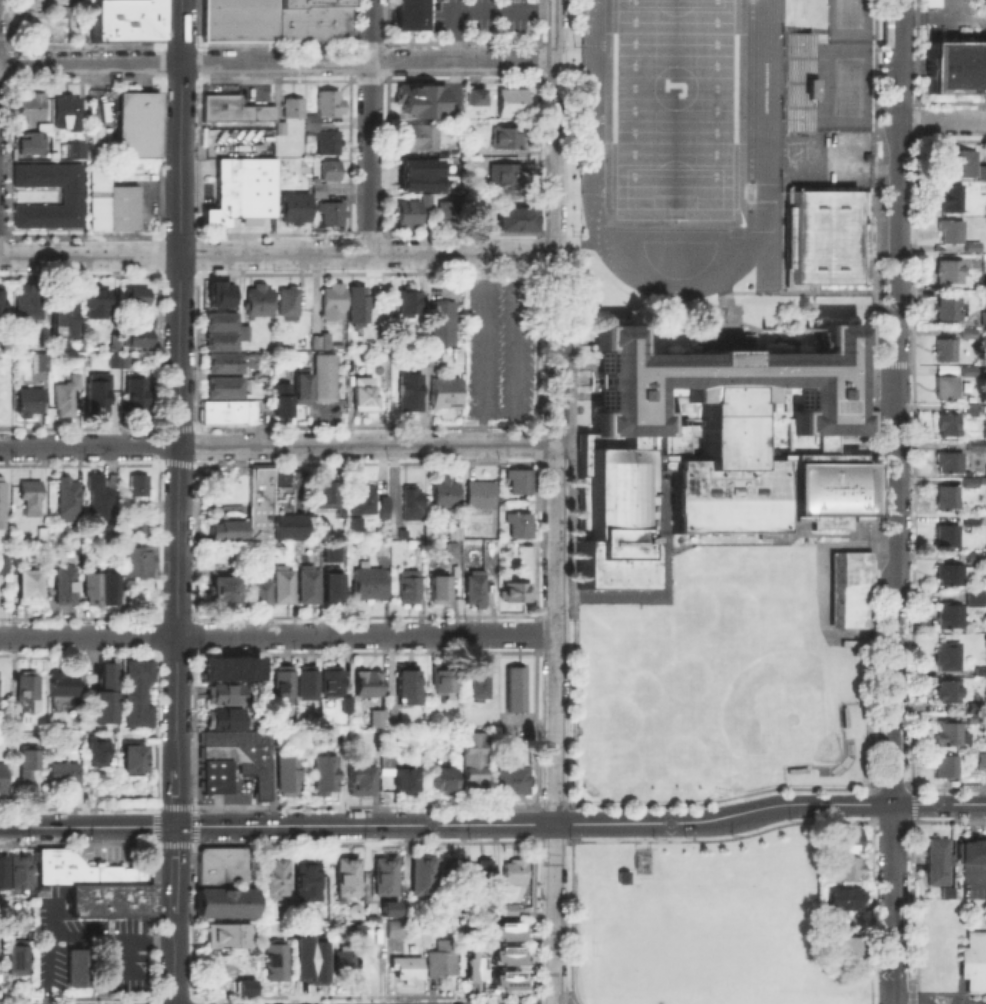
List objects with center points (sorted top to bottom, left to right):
parking lot: (53, 1)
road: (485, 8)
park: (848, 13)
building: (409, 14)
parking lot: (480, 14)
building: (128, 20)
building: (239, 20)
building: (313, 20)
parking lot: (43, 21)
road: (280, 62)
building: (956, 67)
building: (797, 81)
park: (848, 85)
building: (473, 95)
building: (419, 98)
building: (509, 101)
track: (766, 101)
park: (673, 103)
building: (330, 104)
building: (29, 106)
building: (64, 107)
building: (295, 107)
park: (673, 109)
building: (236, 112)
road: (942, 122)
building: (136, 123)
building: (311, 123)
road: (370, 127)
road: (559, 128)
building: (282, 130)
building: (419, 138)
building: (512, 138)
building: (31, 141)
building: (329, 144)
building: (74, 148)
road: (848, 162)
building: (957, 164)
building: (331, 172)
building: (418, 173)
building: (507, 174)
building: (240, 189)
building: (69, 192)
building: (320, 192)
building: (949, 198)
building: (113, 202)
building: (447, 207)
building: (296, 209)
building: (333, 215)
building: (410, 218)
building: (518, 221)
building: (949, 230)
building: (825, 236)
road: (279, 256)
building: (947, 270)
building: (983, 281)
building: (217, 292)
building: (139, 299)
building: (331, 301)
building: (260, 302)
building: (30, 303)
building: (3, 304)
building: (99, 305)
building: (289, 305)
building: (358, 305)
building: (409, 305)
building: (946, 307)
building: (982, 317)
building: (65, 319)
building: (219, 320)
building: (443, 325)
building: (968, 331)
building: (245, 332)
building: (219, 340)
building: (323, 341)
building: (82, 345)
building: (128, 346)
building: (945, 348)
road: (482, 349)
parking lot: (499, 349)
road: (514, 349)
road: (558, 349)
building: (228, 360)
building: (44, 363)
building: (326, 379)
building: (945, 382)
building: (3, 383)
building: (223, 386)
building: (303, 388)
building: (727, 391)
building: (412, 394)
building: (367, 395)
building: (446, 395)
building: (137, 396)
building: (100, 397)
building: (68, 398)
building: (284, 401)
building: (31, 403)
building: (225, 413)
building: (948, 423)
building: (800, 443)
building: (821, 443)
road: (278, 444)
building: (671, 445)
building: (976, 445)
building: (776, 457)
building: (947, 461)
building: (280, 477)
building: (517, 482)
building: (828, 482)
building: (970, 482)
road: (223, 484)
park: (220, 485)
building: (136, 487)
building: (325, 493)
building: (583, 493)
building: (442, 495)
building: (478, 495)
building: (360, 497)
building: (946, 497)
building: (32, 498)
building: (282, 499)
building: (725, 499)
building: (70, 501)
road: (178, 502)
road: (895, 502)
building: (259, 503)
building: (3, 504)
building: (410, 504)
building: (382, 506)
building: (103, 507)
road: (221, 509)
building: (829, 518)
building: (969, 519)
building: (354, 522)
building: (287, 524)
building: (615, 524)
building: (516, 525)
building: (132, 528)
building: (226, 532)
building: (401, 532)
building: (456, 533)
building: (45, 536)
building: (80, 536)
building: (945, 536)
building: (329, 551)
building: (454, 554)
building: (134, 559)
building: (4, 566)
building: (951, 573)
building: (307, 583)
building: (366, 583)
building: (282, 584)
building: (331, 585)
building: (90, 586)
building: (108, 586)
building: (66, 587)
building: (30, 589)
building: (441, 589)
building: (479, 589)
building: (848, 589)
building: (220, 590)
building: (410, 590)
building: (258, 591)
building: (517, 593)
building: (973, 596)
building: (947, 614)
road: (277, 635)
building: (945, 655)
building: (228, 667)
building: (135, 669)
building: (281, 679)
building: (305, 681)
building: (335, 682)
building: (446, 682)
building: (481, 683)
building: (63, 684)
building: (132, 685)
building: (370, 685)
building: (410, 685)
building: (512, 689)
building: (947, 691)
building: (223, 694)
building: (27, 697)
building: (105, 697)
building: (132, 699)
park: (769, 700)
building: (349, 705)
building: (974, 705)
building: (974, 714)
building: (135, 716)
building: (223, 718)
building: (380, 720)
road: (554, 724)
building: (949, 734)
building: (101, 753)
building: (232, 759)
building: (134, 760)
building: (29, 763)
building: (474, 764)
building: (946, 764)
building: (399, 774)
building: (65, 776)
building: (328, 776)
building: (289, 778)
building: (362, 778)
building: (505, 779)
building: (2, 780)
building: (444, 780)
road: (853, 804)
road: (449, 824)
road: (87, 826)
traffic signals: (176, 826)
building: (845, 838)
building: (971, 851)
building: (225, 865)
building: (936, 865)
building: (845, 867)
building: (82, 868)
building: (448, 869)
building: (18, 870)
building: (3, 871)
building: (480, 871)
building: (511, 871)
building: (382, 873)
building: (419, 873)
building: (275, 875)
building: (343, 875)
building: (303, 877)
building: (842, 898)
building: (107, 899)
building: (221, 902)
building: (392, 909)
building: (506, 910)
building: (395, 930)
building: (502, 930)
building: (227, 934)
road: (112, 936)
parking lot: (89, 939)
building: (847, 946)
building: (502, 954)
building: (311, 958)
building: (20, 959)
building: (340, 961)
building: (443, 961)
building: (973, 961)
building: (271, 962)
building: (76, 968)
building: (473, 968)
road: (47, 969)
building: (408, 970)
building: (501, 979)

